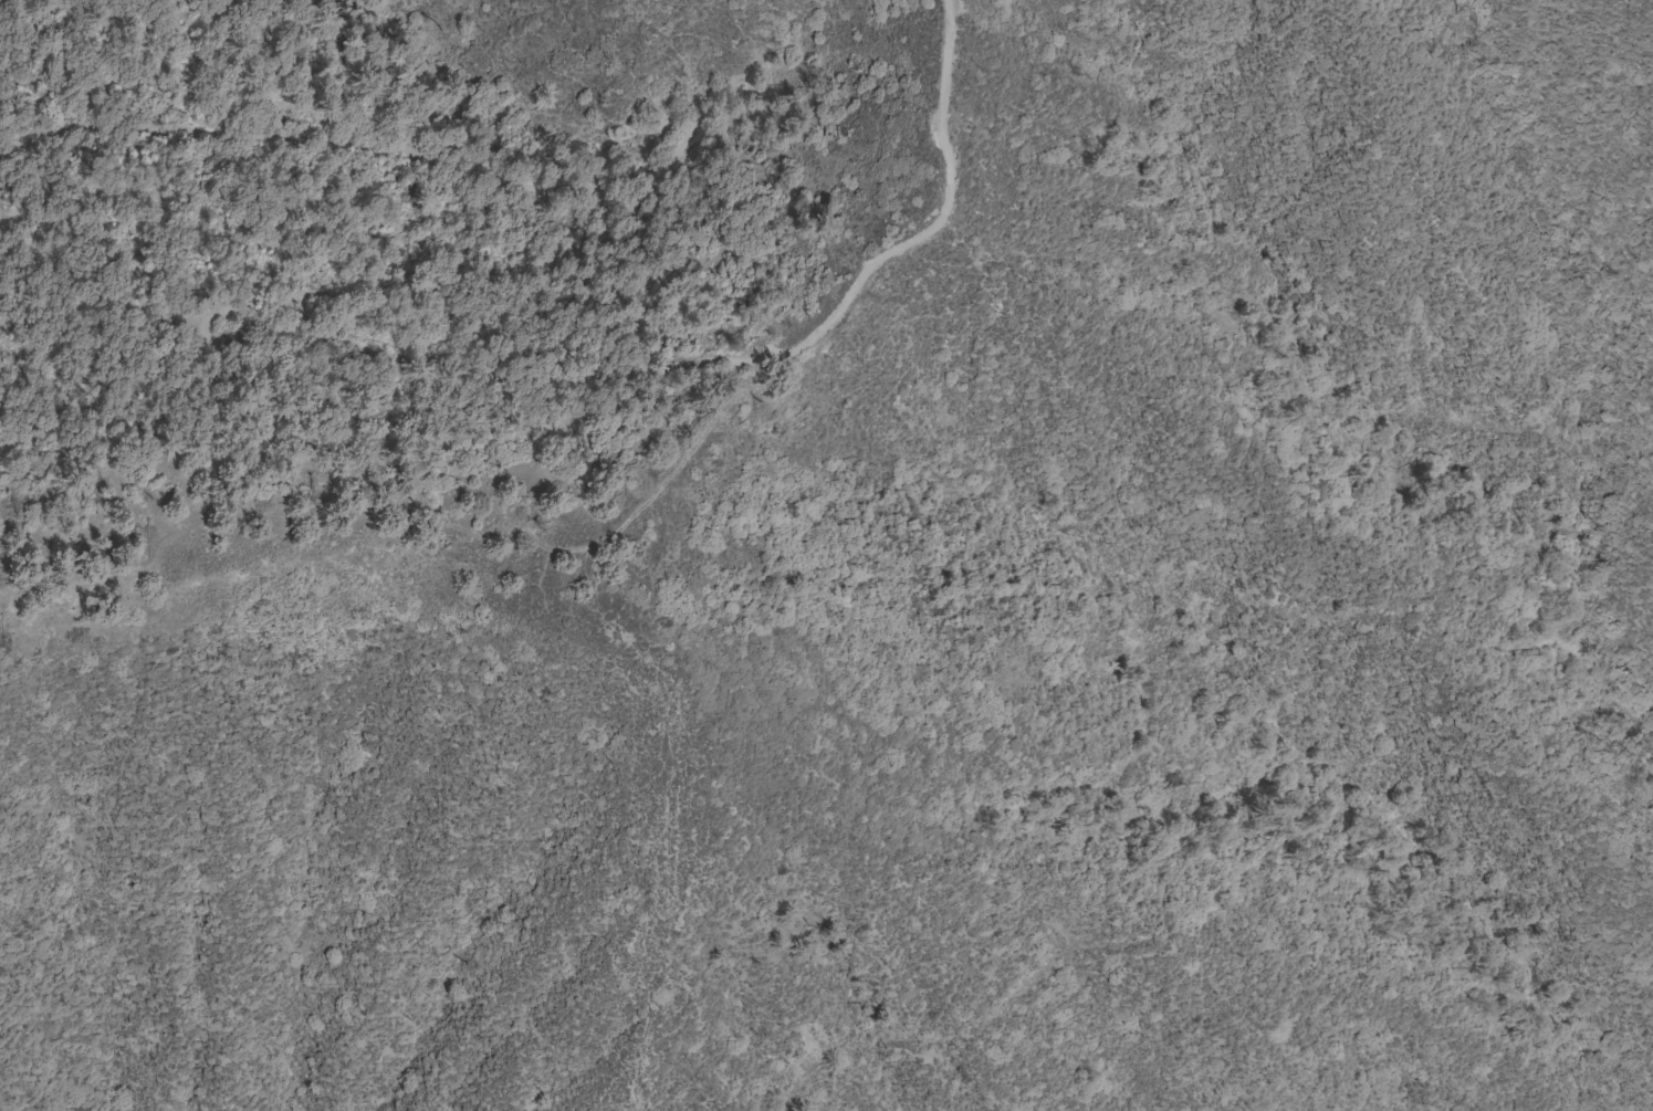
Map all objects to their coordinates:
road: (338, 295)
road: (1139, 683)

